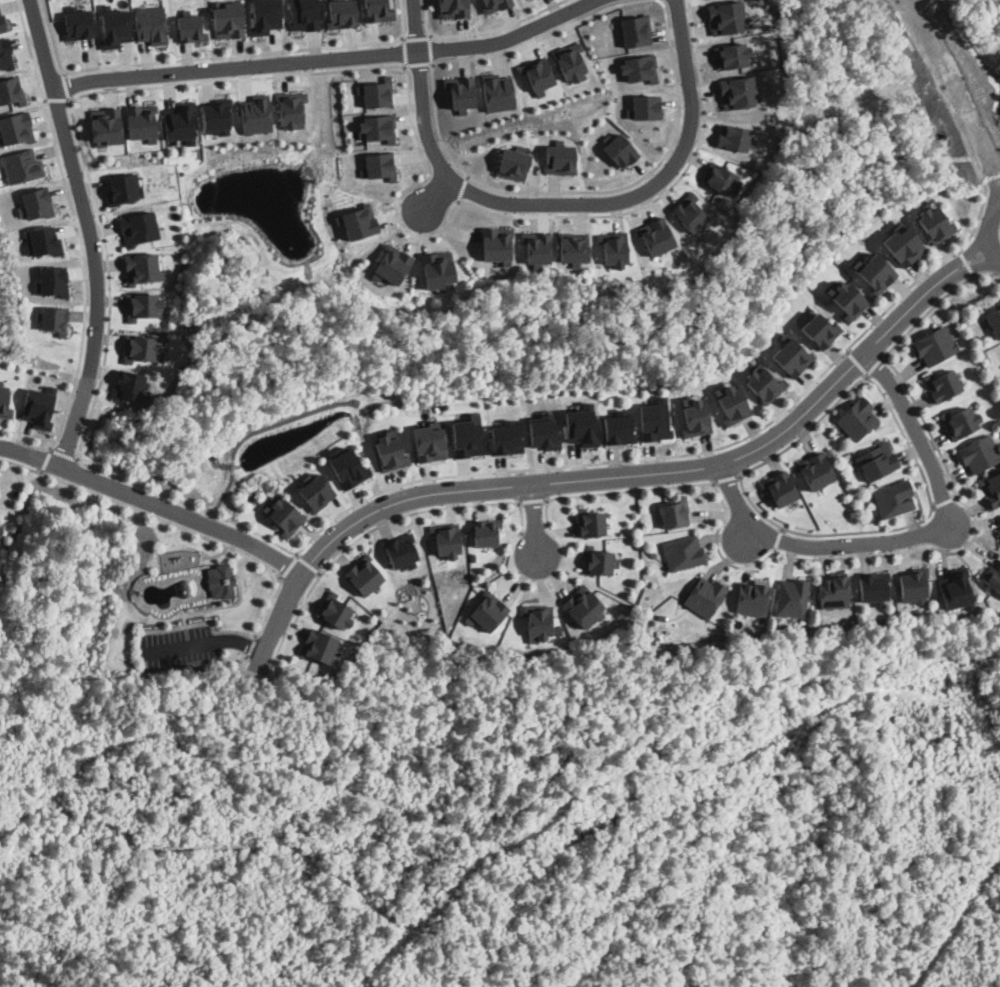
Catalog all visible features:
road: (660, 0)
road: (661, 0)
building: (494, 4)
building: (453, 8)
building: (376, 10)
building: (342, 13)
building: (304, 14)
building: (265, 16)
building: (724, 16)
building: (228, 19)
building: (2, 22)
building: (78, 23)
building: (151, 24)
building: (115, 26)
building: (190, 27)
building: (635, 30)
road: (480, 31)
road: (415, 36)
road: (430, 49)
road: (403, 51)
building: (6, 53)
building: (731, 54)
road: (213, 55)
road: (325, 58)
building: (569, 61)
road: (418, 63)
road: (368, 66)
building: (639, 68)
building: (536, 73)
road: (65, 85)
building: (11, 90)
building: (496, 91)
building: (736, 91)
building: (375, 92)
building: (459, 92)
road: (957, 93)
road: (56, 99)
building: (644, 106)
building: (290, 108)
building: (255, 113)
building: (217, 115)
building: (141, 121)
building: (180, 121)
building: (106, 125)
building: (16, 127)
building: (374, 127)
building: (734, 136)
building: (619, 149)
building: (559, 158)
building: (513, 162)
building: (375, 164)
building: (22, 165)
building: (719, 177)
road: (483, 182)
road: (462, 185)
building: (123, 188)
road: (660, 194)
road: (436, 195)
building: (35, 202)
road: (556, 205)
building: (688, 211)
building: (356, 221)
building: (928, 222)
building: (137, 227)
road: (986, 231)
road: (88, 232)
building: (655, 235)
building: (42, 240)
building: (495, 242)
building: (536, 245)
building: (572, 246)
road: (79, 248)
building: (613, 248)
building: (901, 248)
road: (965, 261)
building: (391, 263)
building: (142, 267)
building: (436, 268)
building: (875, 273)
building: (53, 281)
building: (846, 299)
road: (936, 302)
building: (142, 305)
building: (53, 318)
building: (993, 320)
building: (819, 330)
building: (140, 347)
building: (934, 347)
building: (790, 357)
road: (856, 360)
road: (876, 364)
building: (761, 383)
building: (128, 384)
building: (943, 385)
road: (93, 396)
building: (4, 400)
building: (730, 402)
building: (38, 406)
building: (694, 415)
building: (856, 419)
building: (653, 421)
building: (961, 422)
building: (580, 425)
building: (617, 429)
building: (542, 431)
building: (466, 436)
building: (504, 438)
building: (429, 443)
road: (62, 452)
building: (384, 453)
road: (687, 453)
building: (979, 455)
road: (45, 459)
building: (876, 461)
building: (347, 466)
road: (920, 468)
building: (815, 472)
road: (617, 475)
road: (727, 477)
road: (681, 484)
building: (780, 489)
building: (315, 490)
building: (992, 490)
road: (531, 499)
building: (893, 500)
road: (943, 501)
road: (151, 503)
building: (673, 514)
building: (284, 515)
road: (533, 522)
building: (590, 522)
road: (173, 524)
road: (372, 528)
building: (0, 529)
building: (486, 534)
road: (973, 535)
road: (913, 536)
road: (777, 538)
building: (447, 541)
building: (398, 552)
building: (682, 553)
road: (307, 563)
building: (599, 563)
road: (287, 564)
building: (364, 574)
building: (993, 577)
building: (220, 580)
building: (872, 586)
building: (912, 586)
building: (833, 591)
building: (956, 591)
building: (704, 597)
building: (791, 599)
building: (751, 600)
building: (584, 607)
building: (335, 610)
building: (487, 612)
road: (200, 622)
building: (538, 623)
road: (239, 641)
building: (319, 645)
road: (176, 646)
road: (249, 646)
building: (335, 658)

